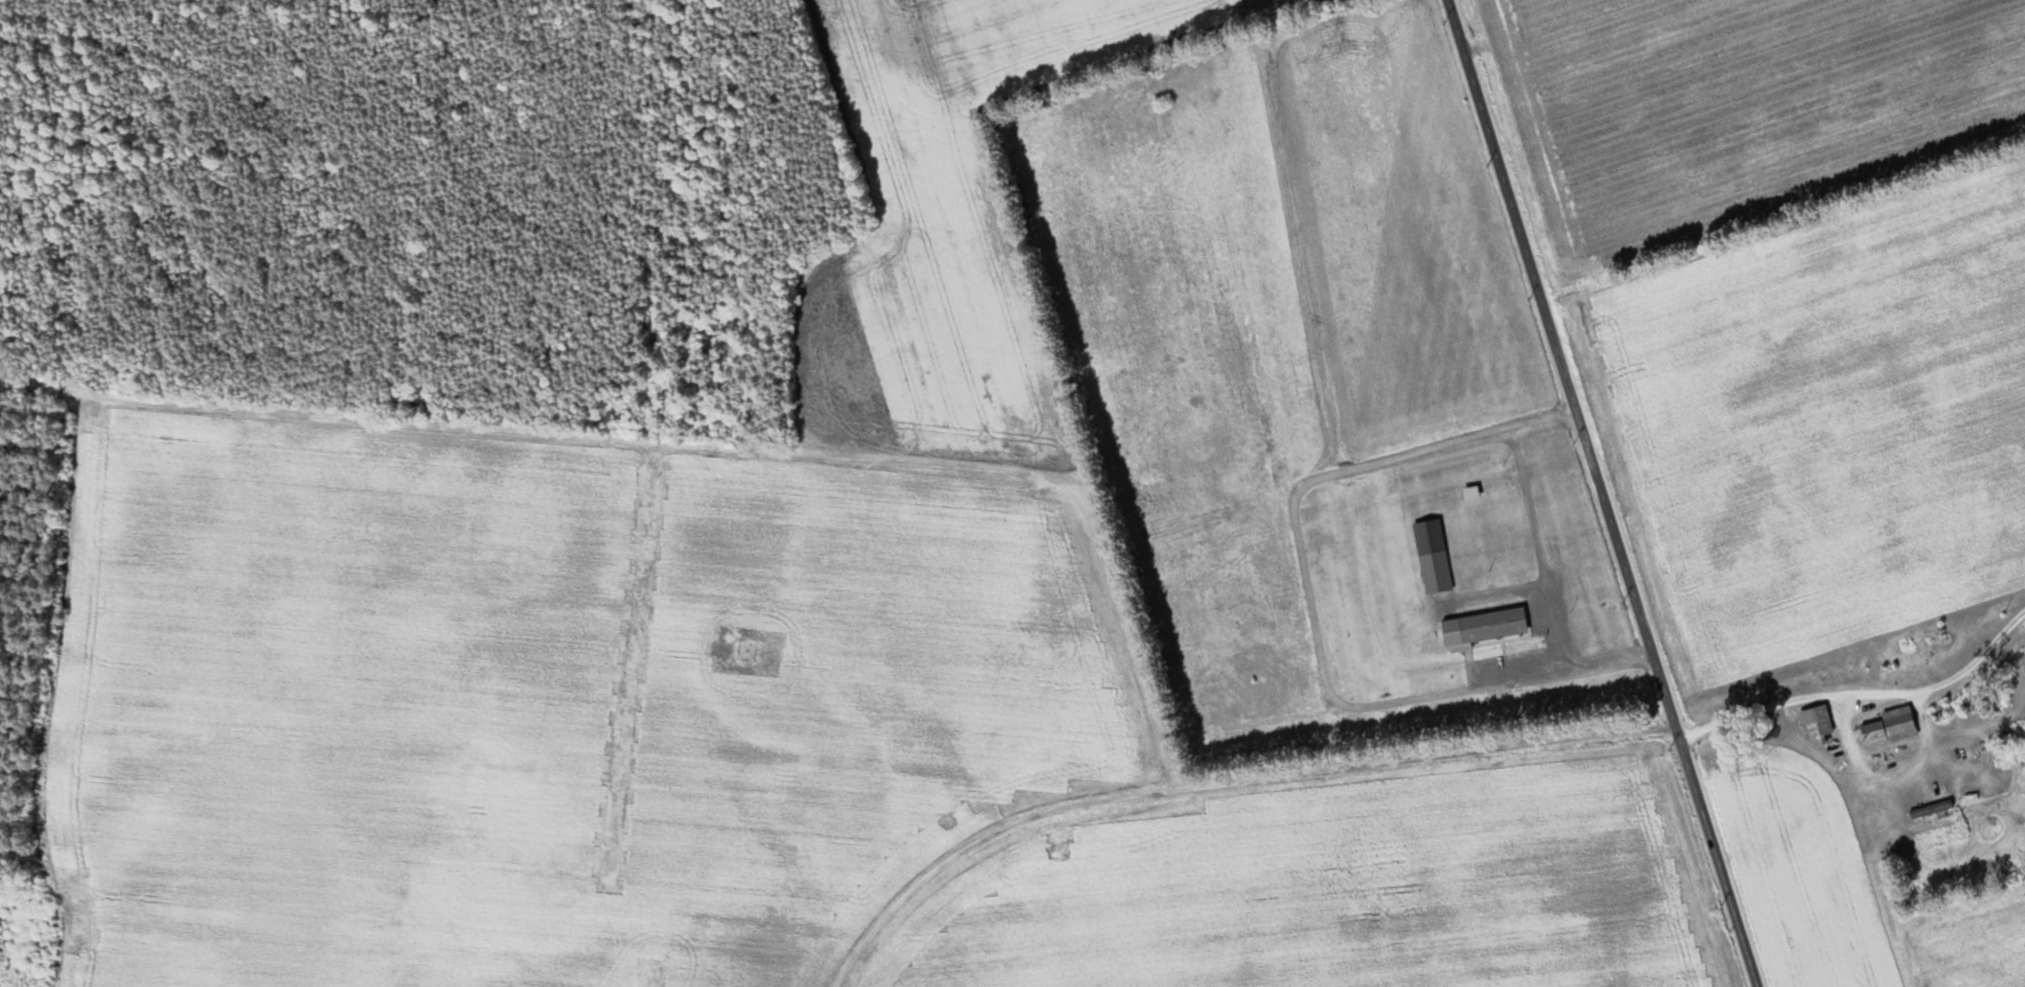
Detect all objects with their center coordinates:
road: (1601, 493)
building: (1431, 556)
road: (1530, 564)
building: (1483, 627)
road: (1818, 698)
building: (1815, 724)
building: (1890, 726)
building: (2019, 752)
road: (1863, 794)
road: (1103, 809)
building: (1929, 810)

